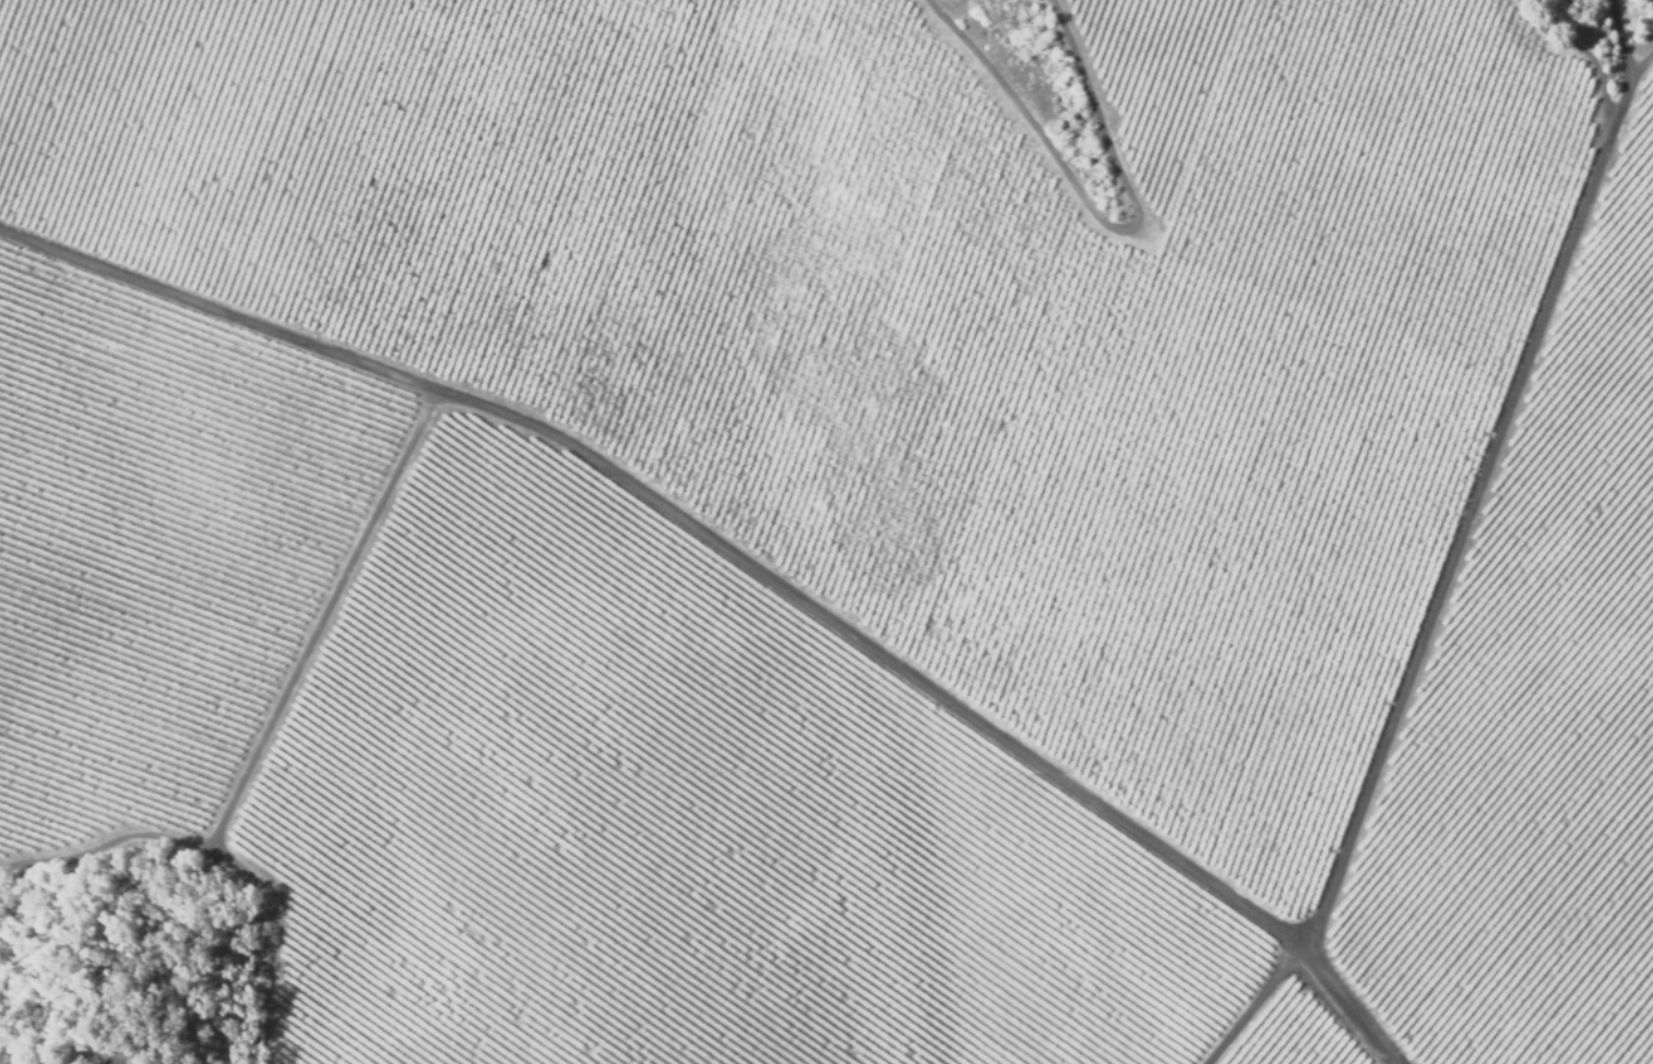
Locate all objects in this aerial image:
road: (1613, 57)
road: (1089, 481)

